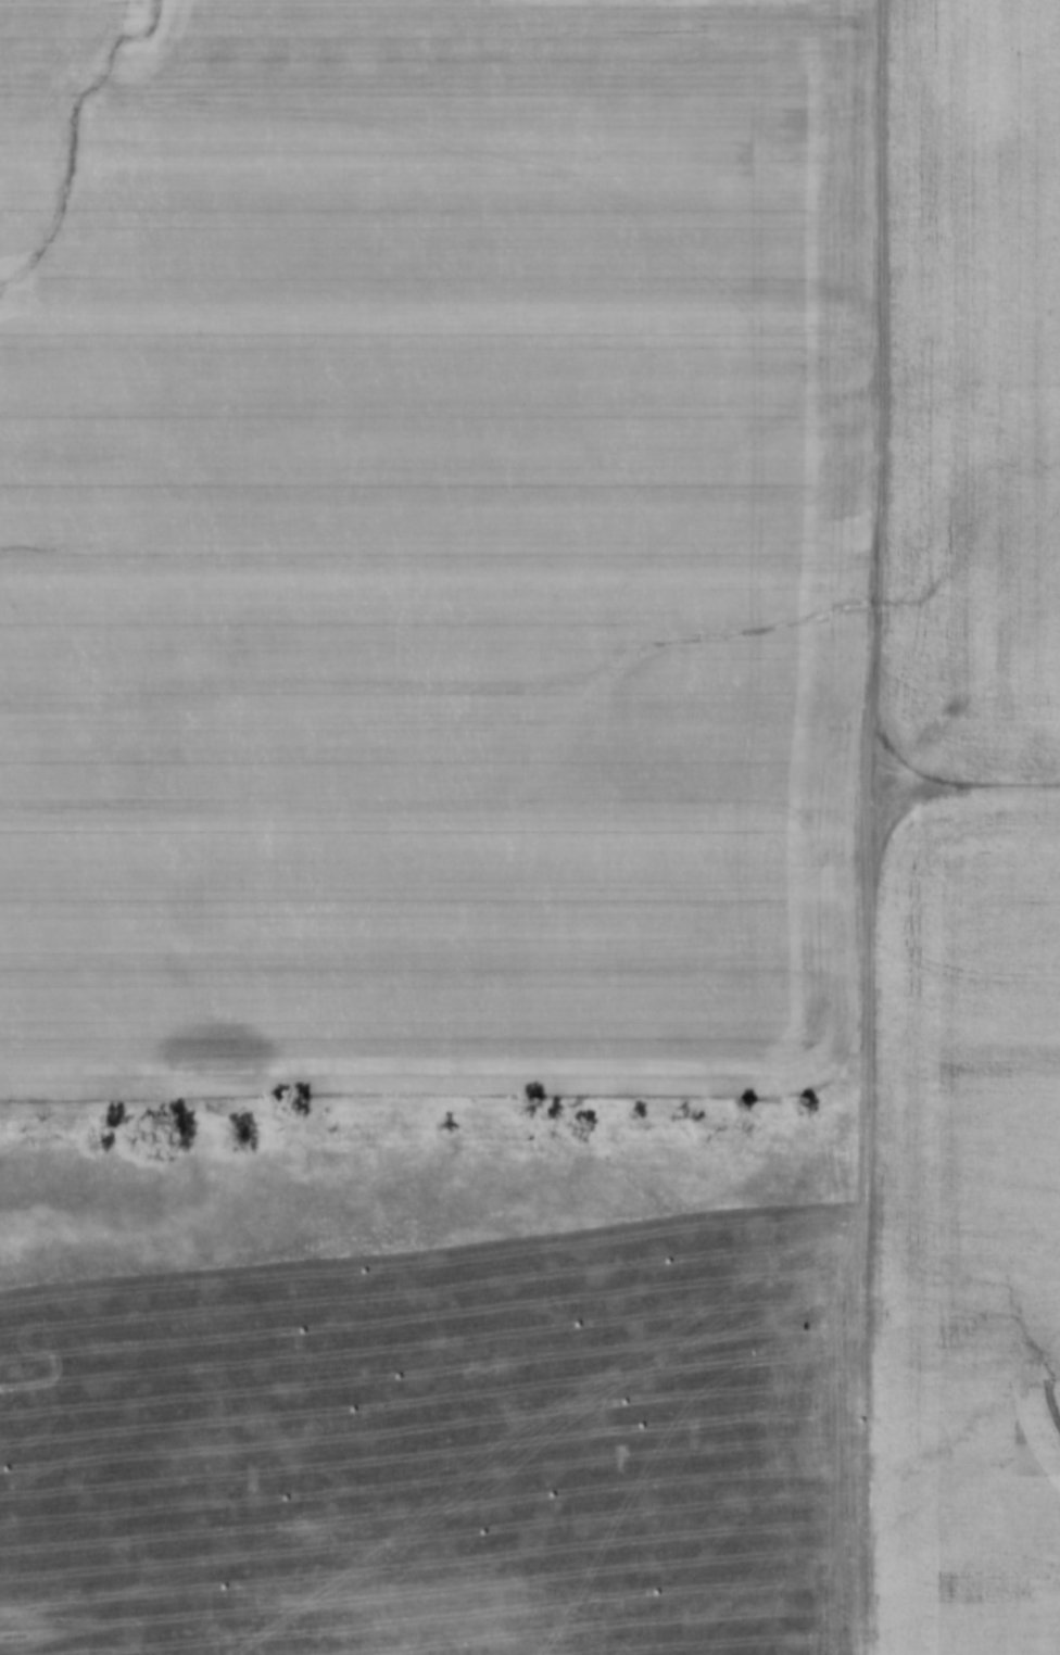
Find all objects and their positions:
road: (874, 592)

